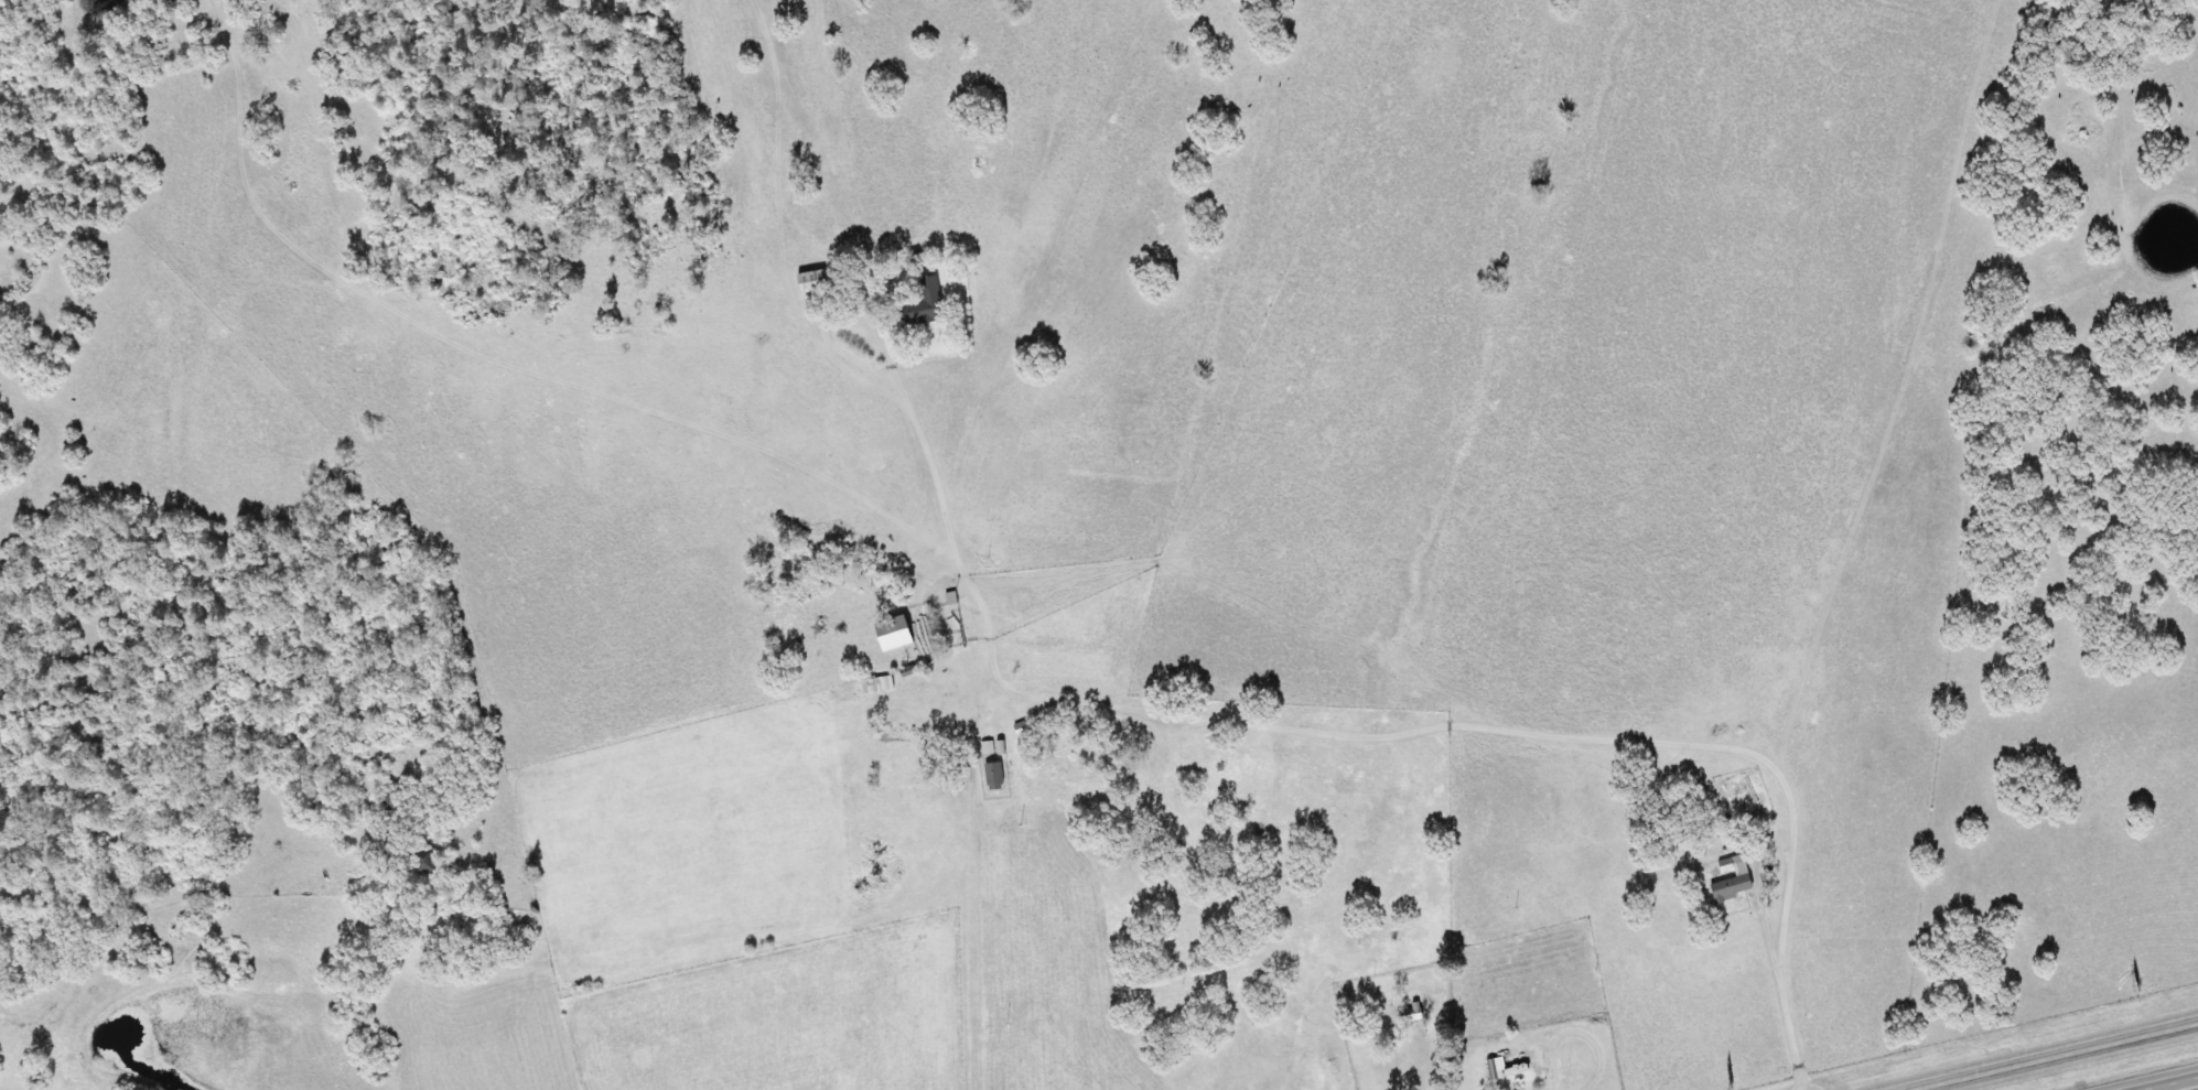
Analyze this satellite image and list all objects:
road: (231, 28)
building: (807, 279)
building: (915, 303)
building: (937, 592)
building: (887, 633)
building: (871, 684)
road: (1184, 708)
building: (1015, 729)
building: (989, 776)
building: (419, 862)
road: (188, 873)
building: (1727, 879)
building: (1407, 1014)
road: (1418, 1055)
road: (2047, 1055)
road: (2169, 1082)

